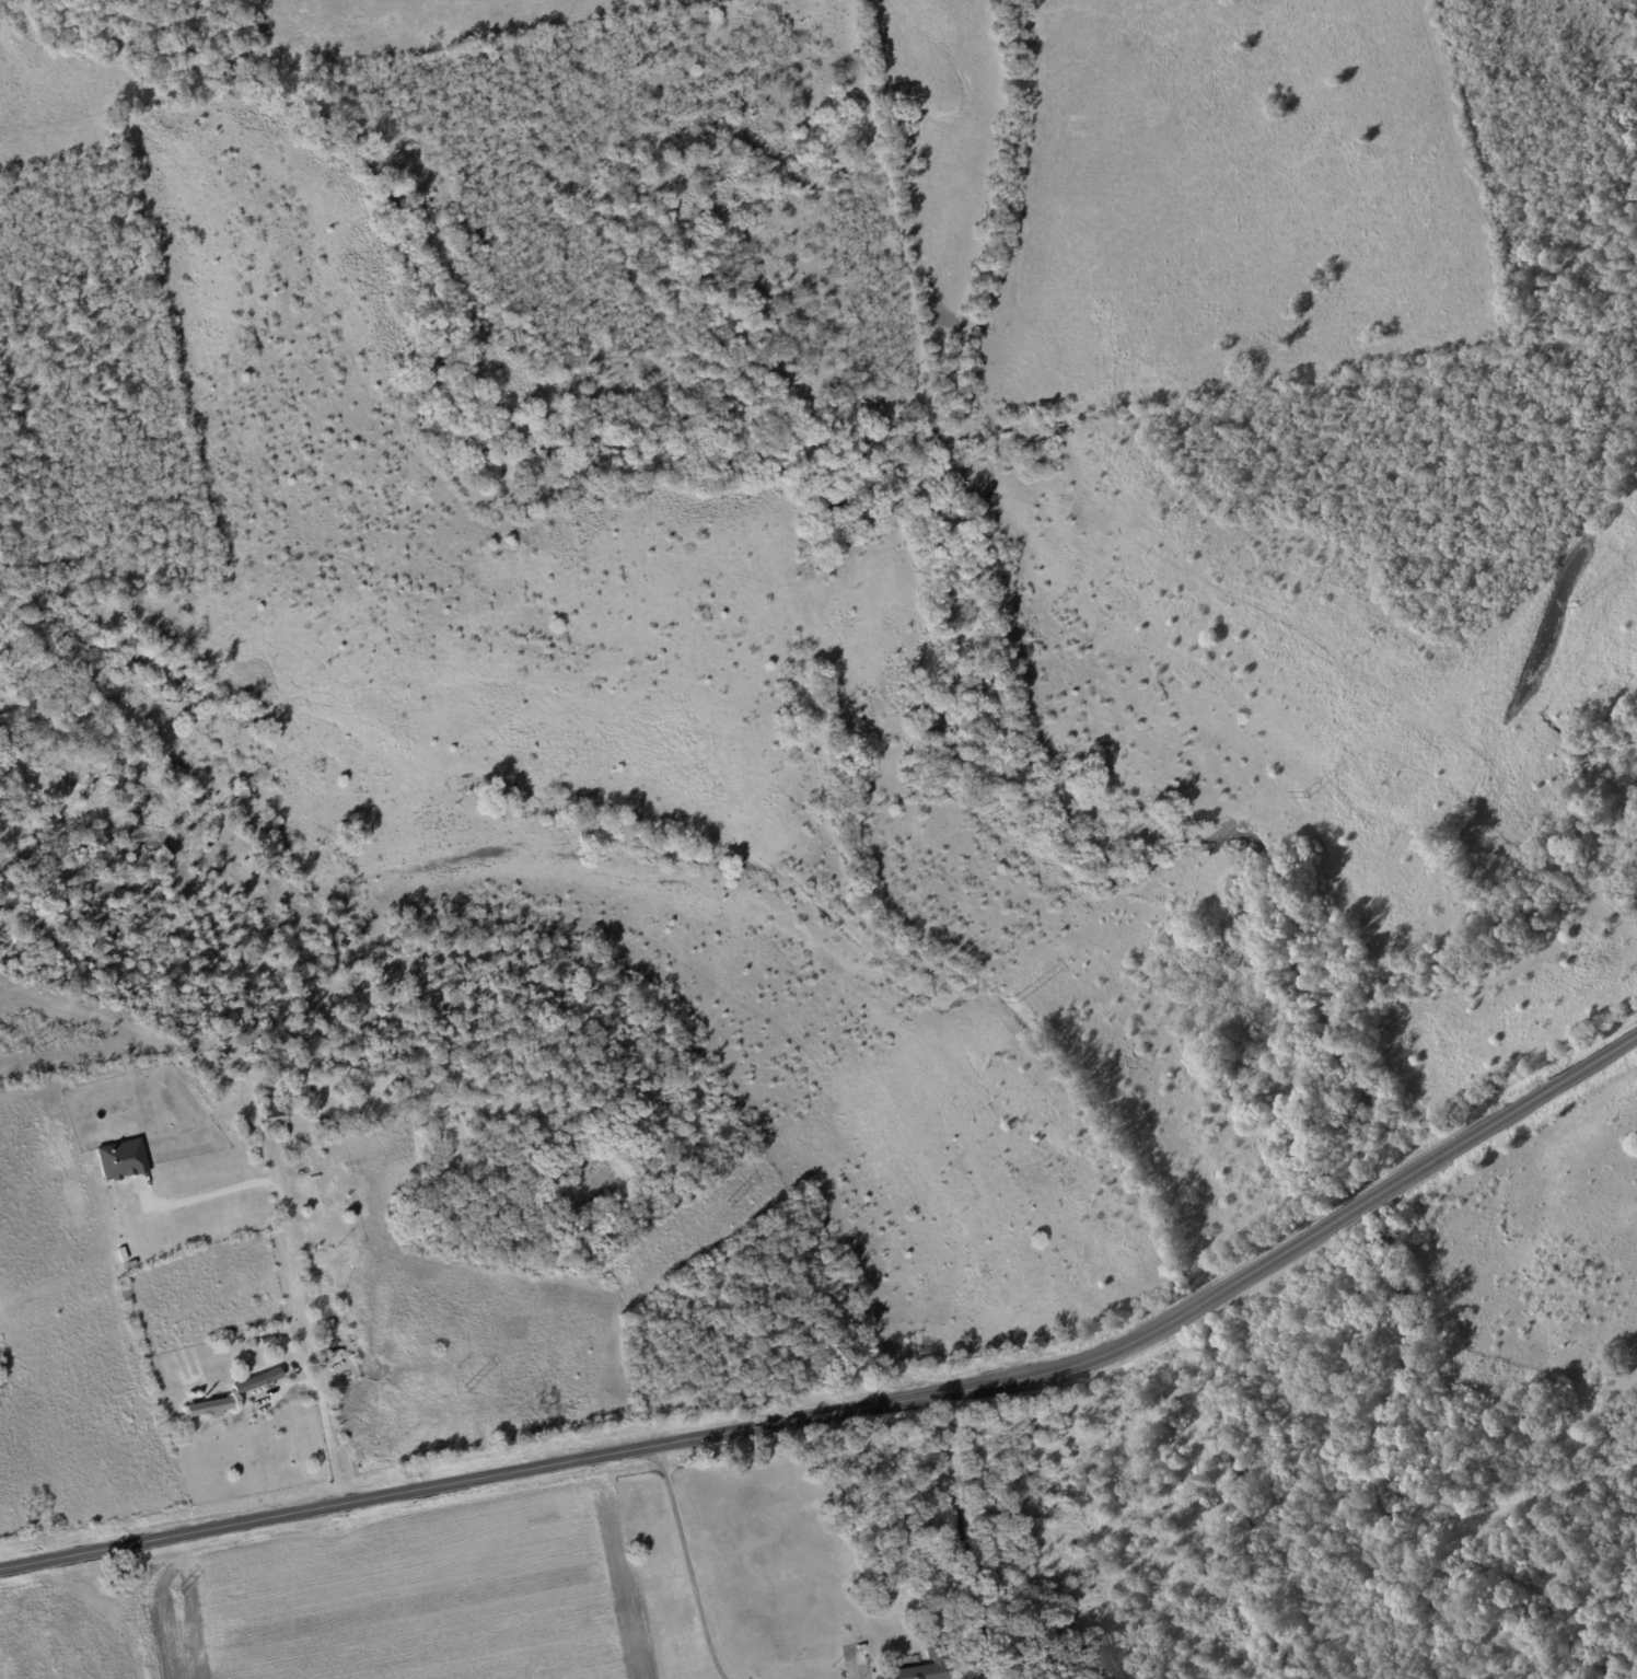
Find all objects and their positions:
power tower: (1576, 604)
power tower: (1308, 796)
power tower: (1018, 1001)
building: (268, 1119)
building: (118, 1160)
power tower: (728, 1205)
road: (305, 1332)
building: (254, 1381)
power tower: (465, 1390)
building: (205, 1408)
road: (858, 1410)
road: (964, 1537)
road: (686, 1562)
power tower: (175, 1595)
building: (920, 1669)

